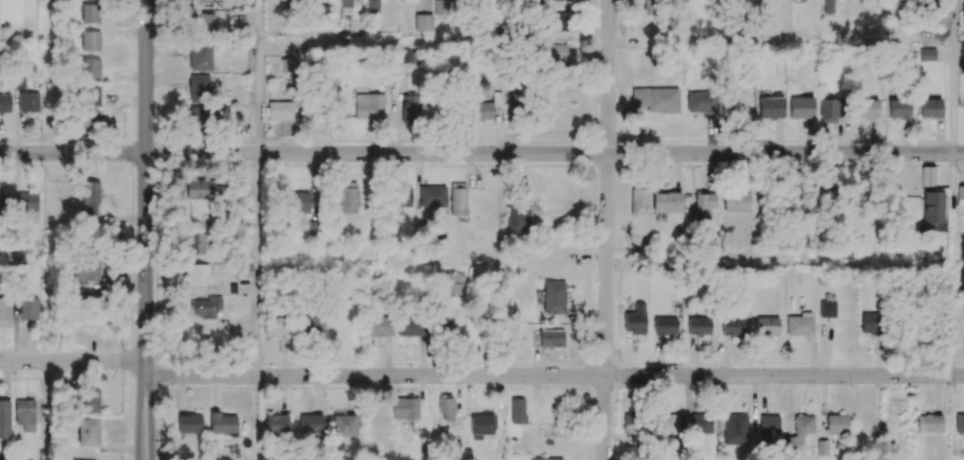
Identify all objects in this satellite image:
building: (551, 0)
building: (411, 1)
building: (198, 2)
building: (342, 5)
building: (372, 5)
building: (828, 6)
building: (441, 7)
building: (647, 7)
building: (10, 11)
building: (90, 13)
building: (422, 22)
building: (557, 24)
building: (90, 40)
building: (962, 50)
building: (555, 53)
building: (927, 54)
building: (406, 55)
building: (200, 57)
building: (287, 65)
building: (87, 67)
road: (258, 76)
building: (199, 88)
building: (90, 95)
building: (654, 100)
building: (28, 102)
building: (700, 102)
building: (5, 103)
building: (514, 103)
building: (369, 107)
building: (801, 107)
building: (486, 108)
building: (770, 108)
building: (867, 108)
building: (930, 108)
building: (410, 109)
building: (899, 109)
building: (279, 110)
building: (827, 111)
building: (198, 117)
building: (89, 121)
road: (481, 154)
road: (146, 184)
building: (198, 189)
building: (960, 192)
building: (432, 196)
building: (348, 197)
building: (401, 197)
building: (827, 197)
building: (457, 199)
building: (638, 200)
building: (90, 201)
building: (735, 201)
building: (5, 202)
building: (298, 202)
building: (666, 202)
building: (27, 203)
building: (702, 206)
building: (933, 211)
building: (517, 217)
road: (606, 230)
building: (196, 243)
building: (86, 270)
building: (196, 275)
building: (454, 284)
building: (88, 297)
building: (553, 297)
building: (827, 305)
building: (205, 307)
building: (28, 309)
building: (5, 311)
building: (634, 320)
building: (315, 323)
building: (871, 323)
building: (412, 325)
building: (698, 325)
building: (732, 325)
building: (800, 325)
building: (275, 326)
building: (378, 326)
building: (664, 326)
building: (766, 326)
building: (551, 338)
road: (480, 376)
building: (88, 400)
building: (446, 407)
building: (404, 408)
road: (130, 409)
road: (160, 410)
building: (517, 411)
building: (25, 414)
road: (146, 414)
building: (4, 419)
building: (189, 423)
building: (310, 423)
building: (700, 423)
building: (222, 424)
building: (632, 424)
building: (668, 424)
building: (836, 424)
building: (932, 424)
building: (959, 424)
building: (275, 425)
building: (343, 425)
building: (482, 426)
building: (767, 428)
building: (734, 429)
building: (801, 429)
building: (88, 432)
building: (822, 448)
building: (549, 458)

